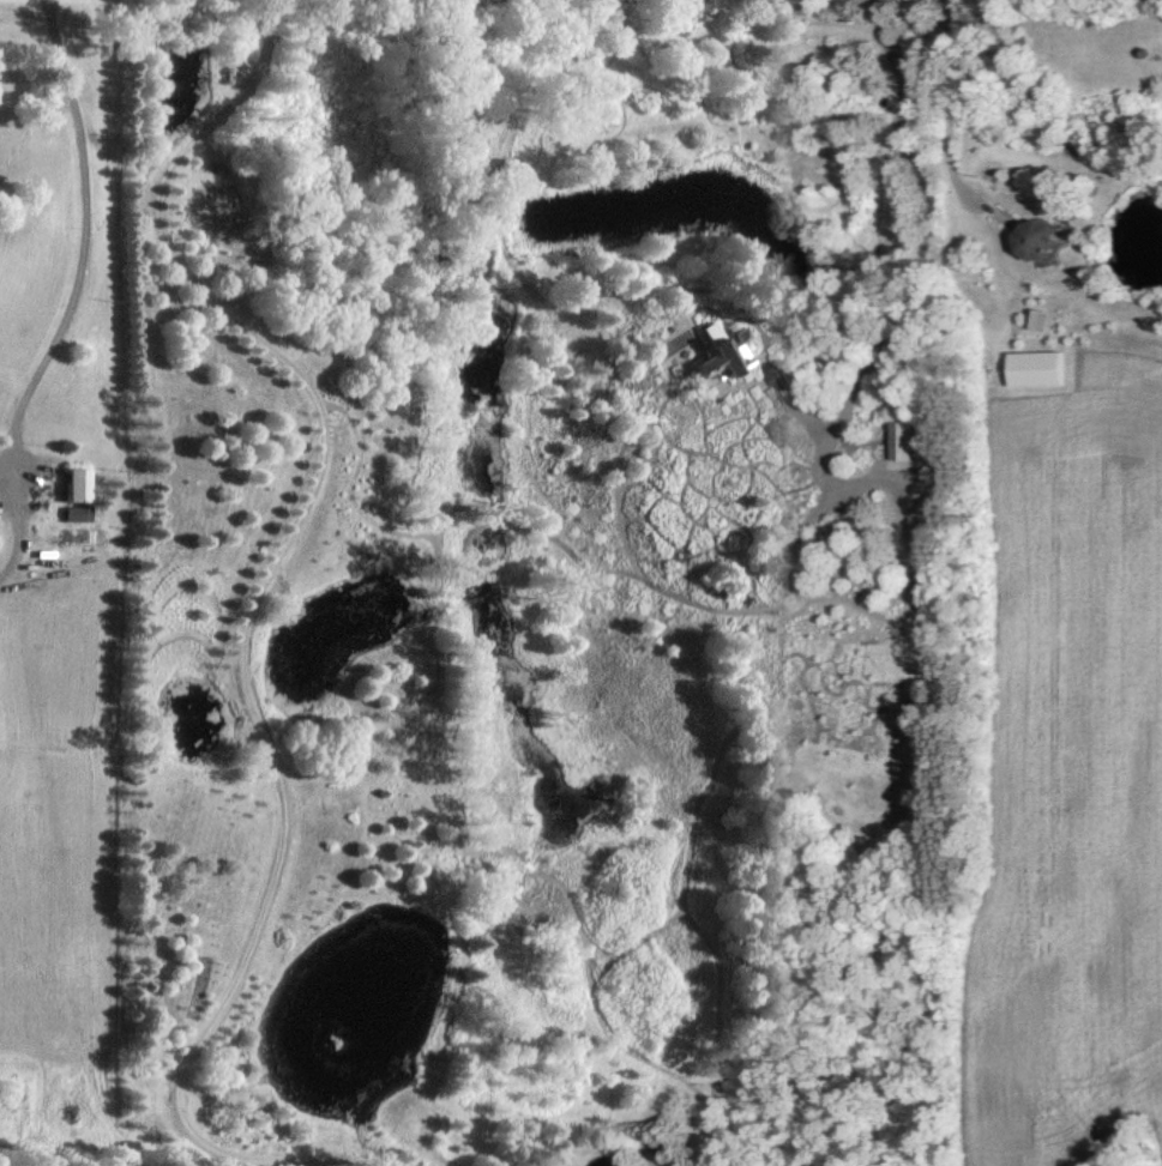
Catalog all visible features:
road: (941, 115)
road: (76, 218)
building: (1036, 240)
road: (938, 288)
building: (697, 355)
building: (1038, 368)
building: (765, 374)
road: (805, 405)
building: (54, 483)
road: (241, 618)

